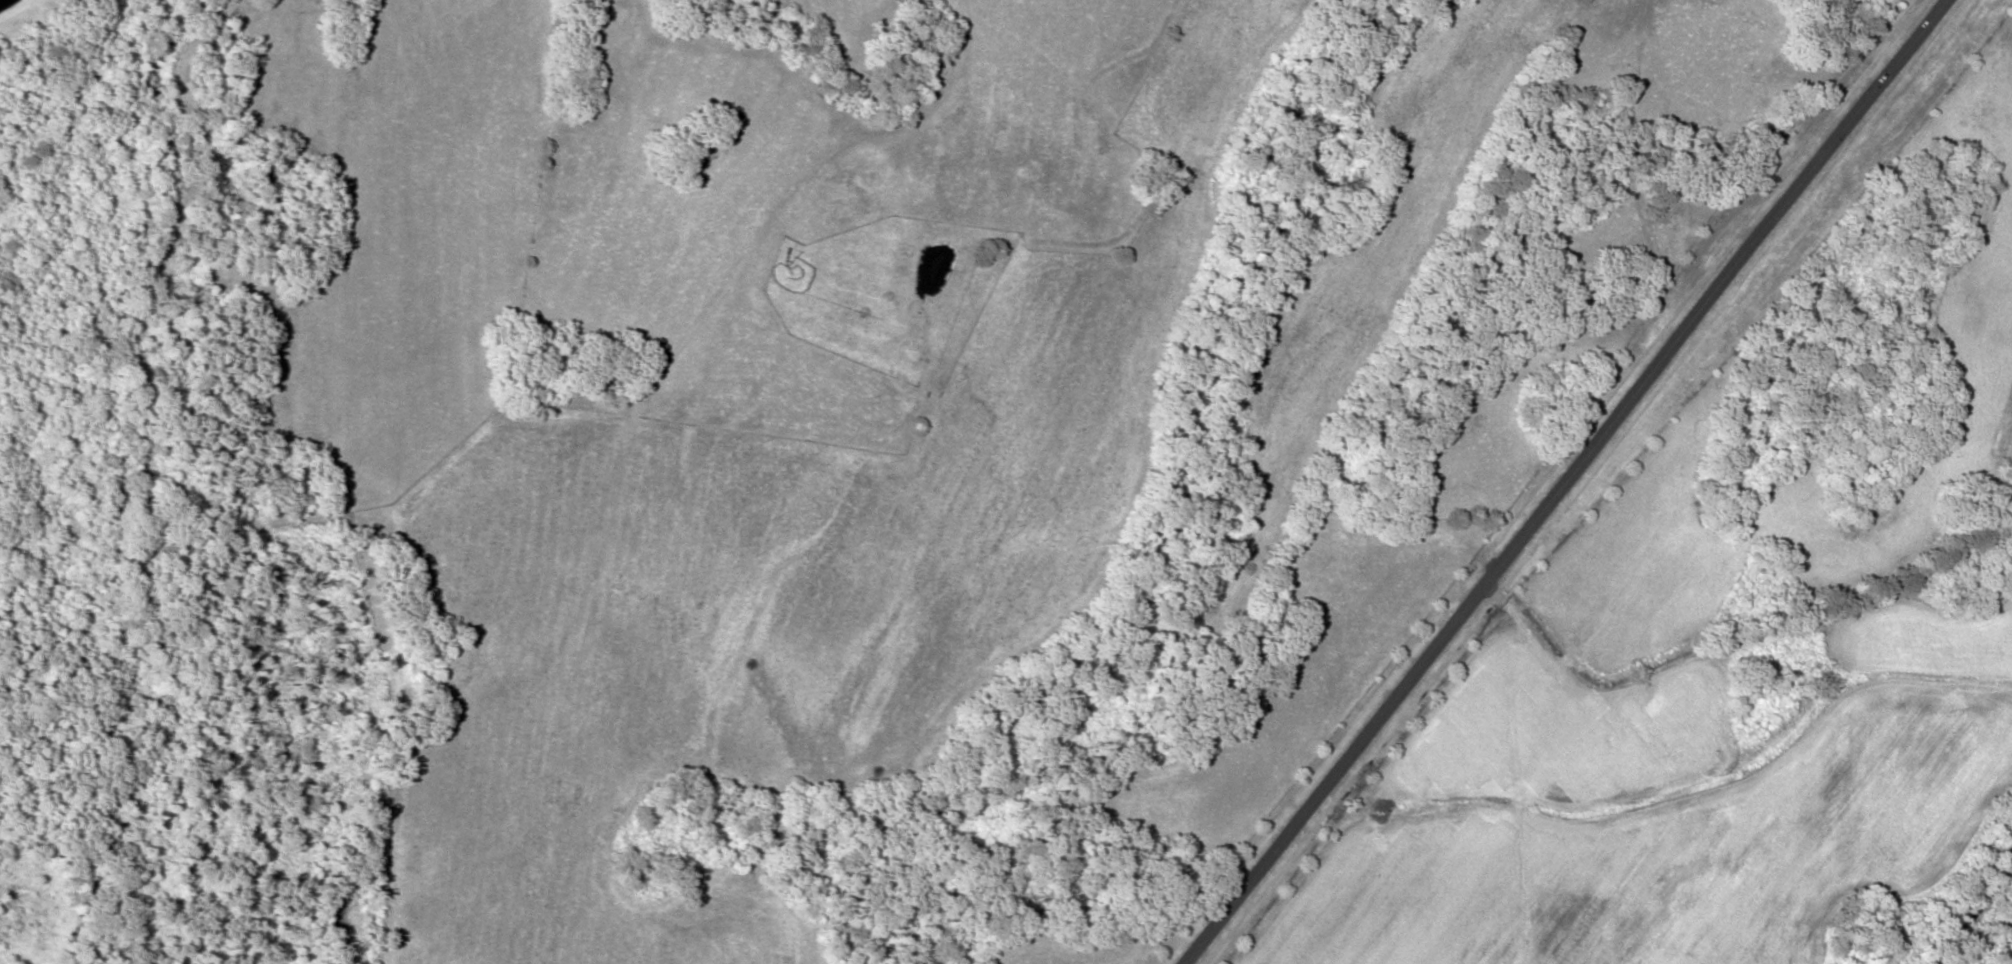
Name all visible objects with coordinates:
road: (1561, 482)

